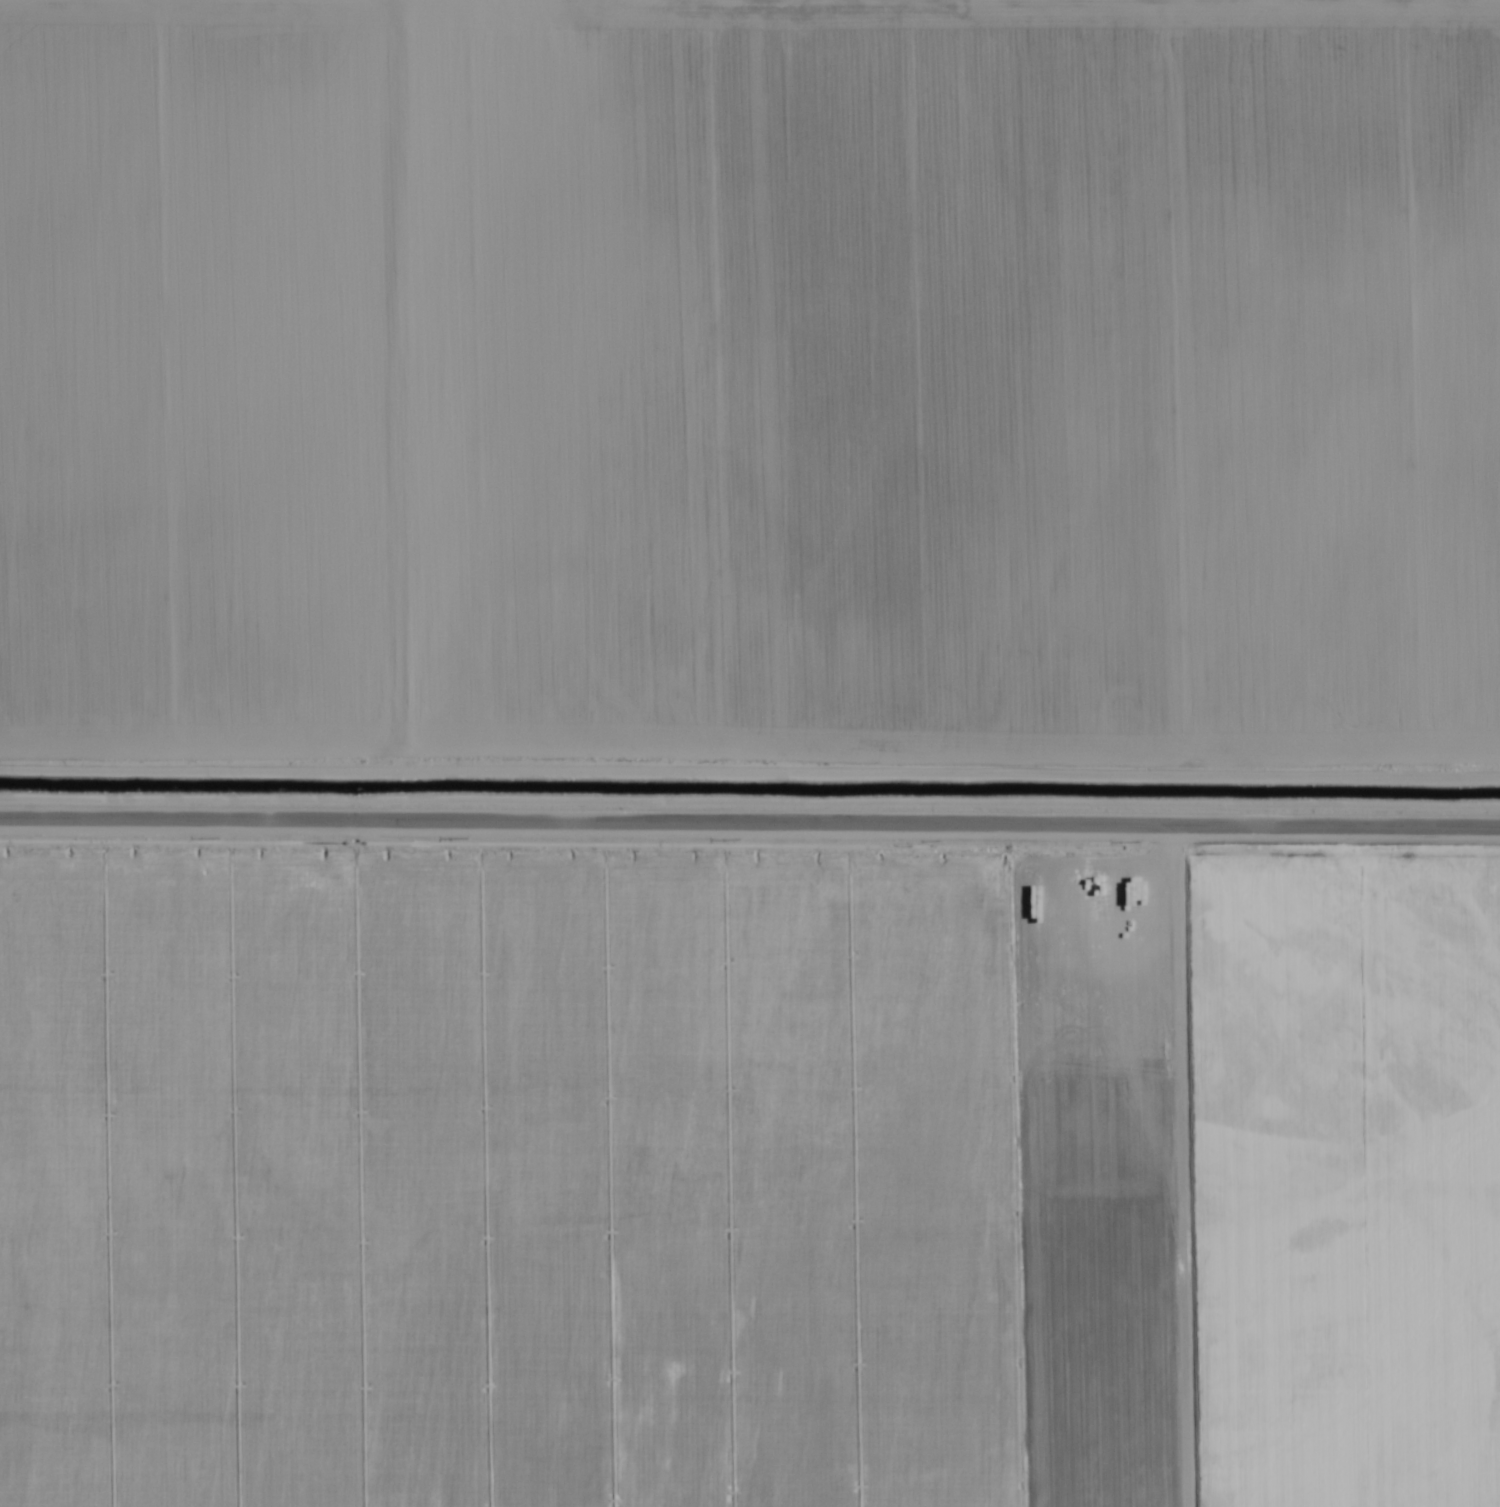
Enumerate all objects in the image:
crop: (750, 753)
road: (749, 848)

